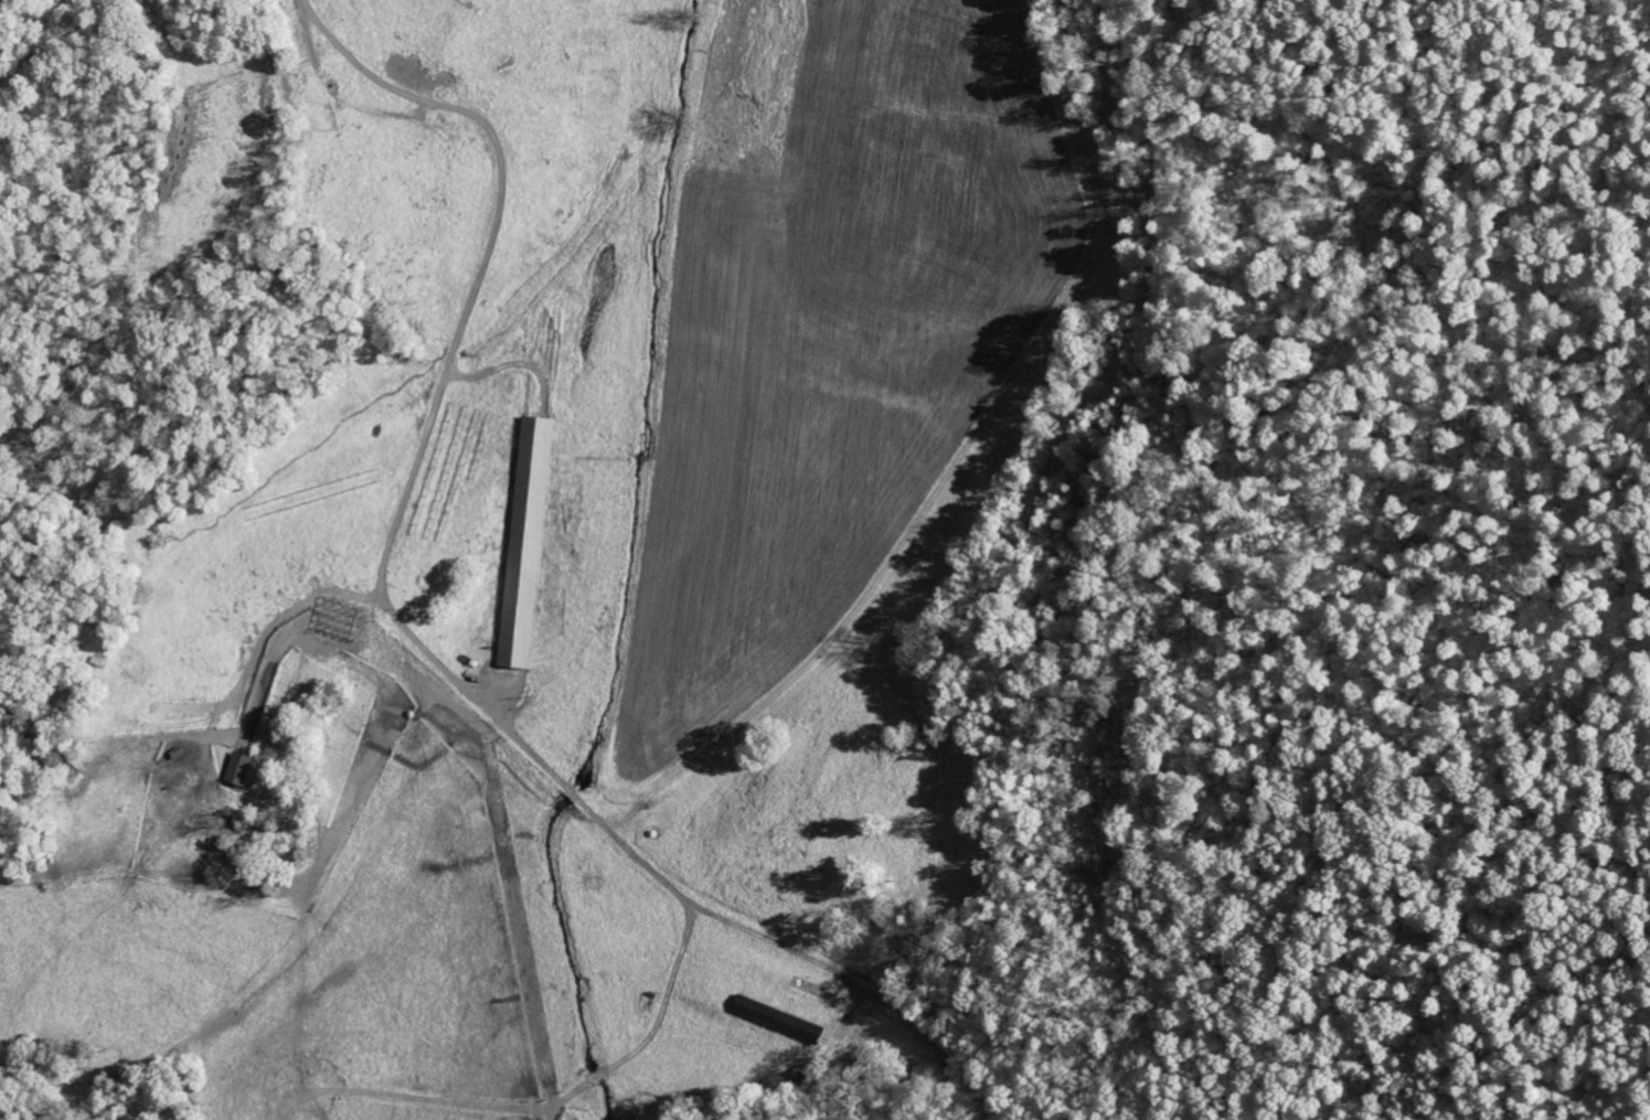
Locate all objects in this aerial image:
road: (307, 20)
building: (526, 543)
building: (243, 770)
building: (778, 1021)

